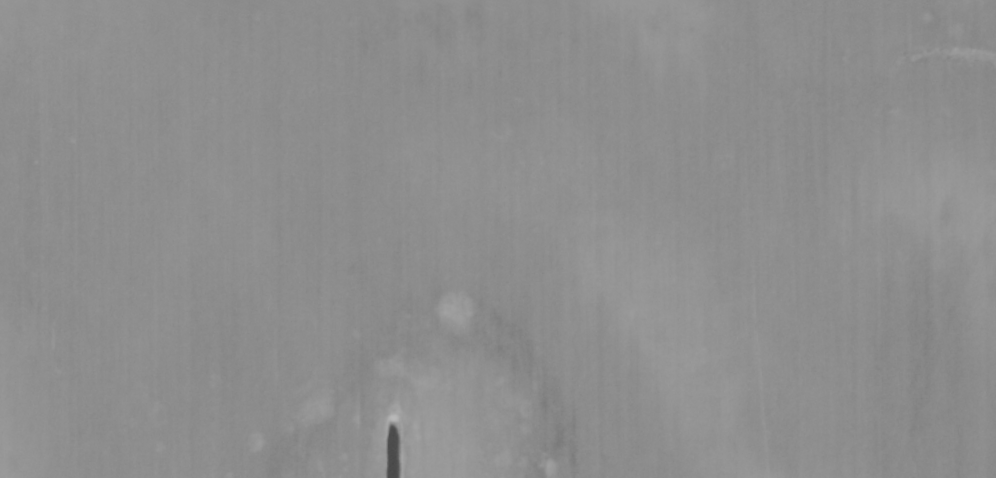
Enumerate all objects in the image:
crop: (498, 239)

